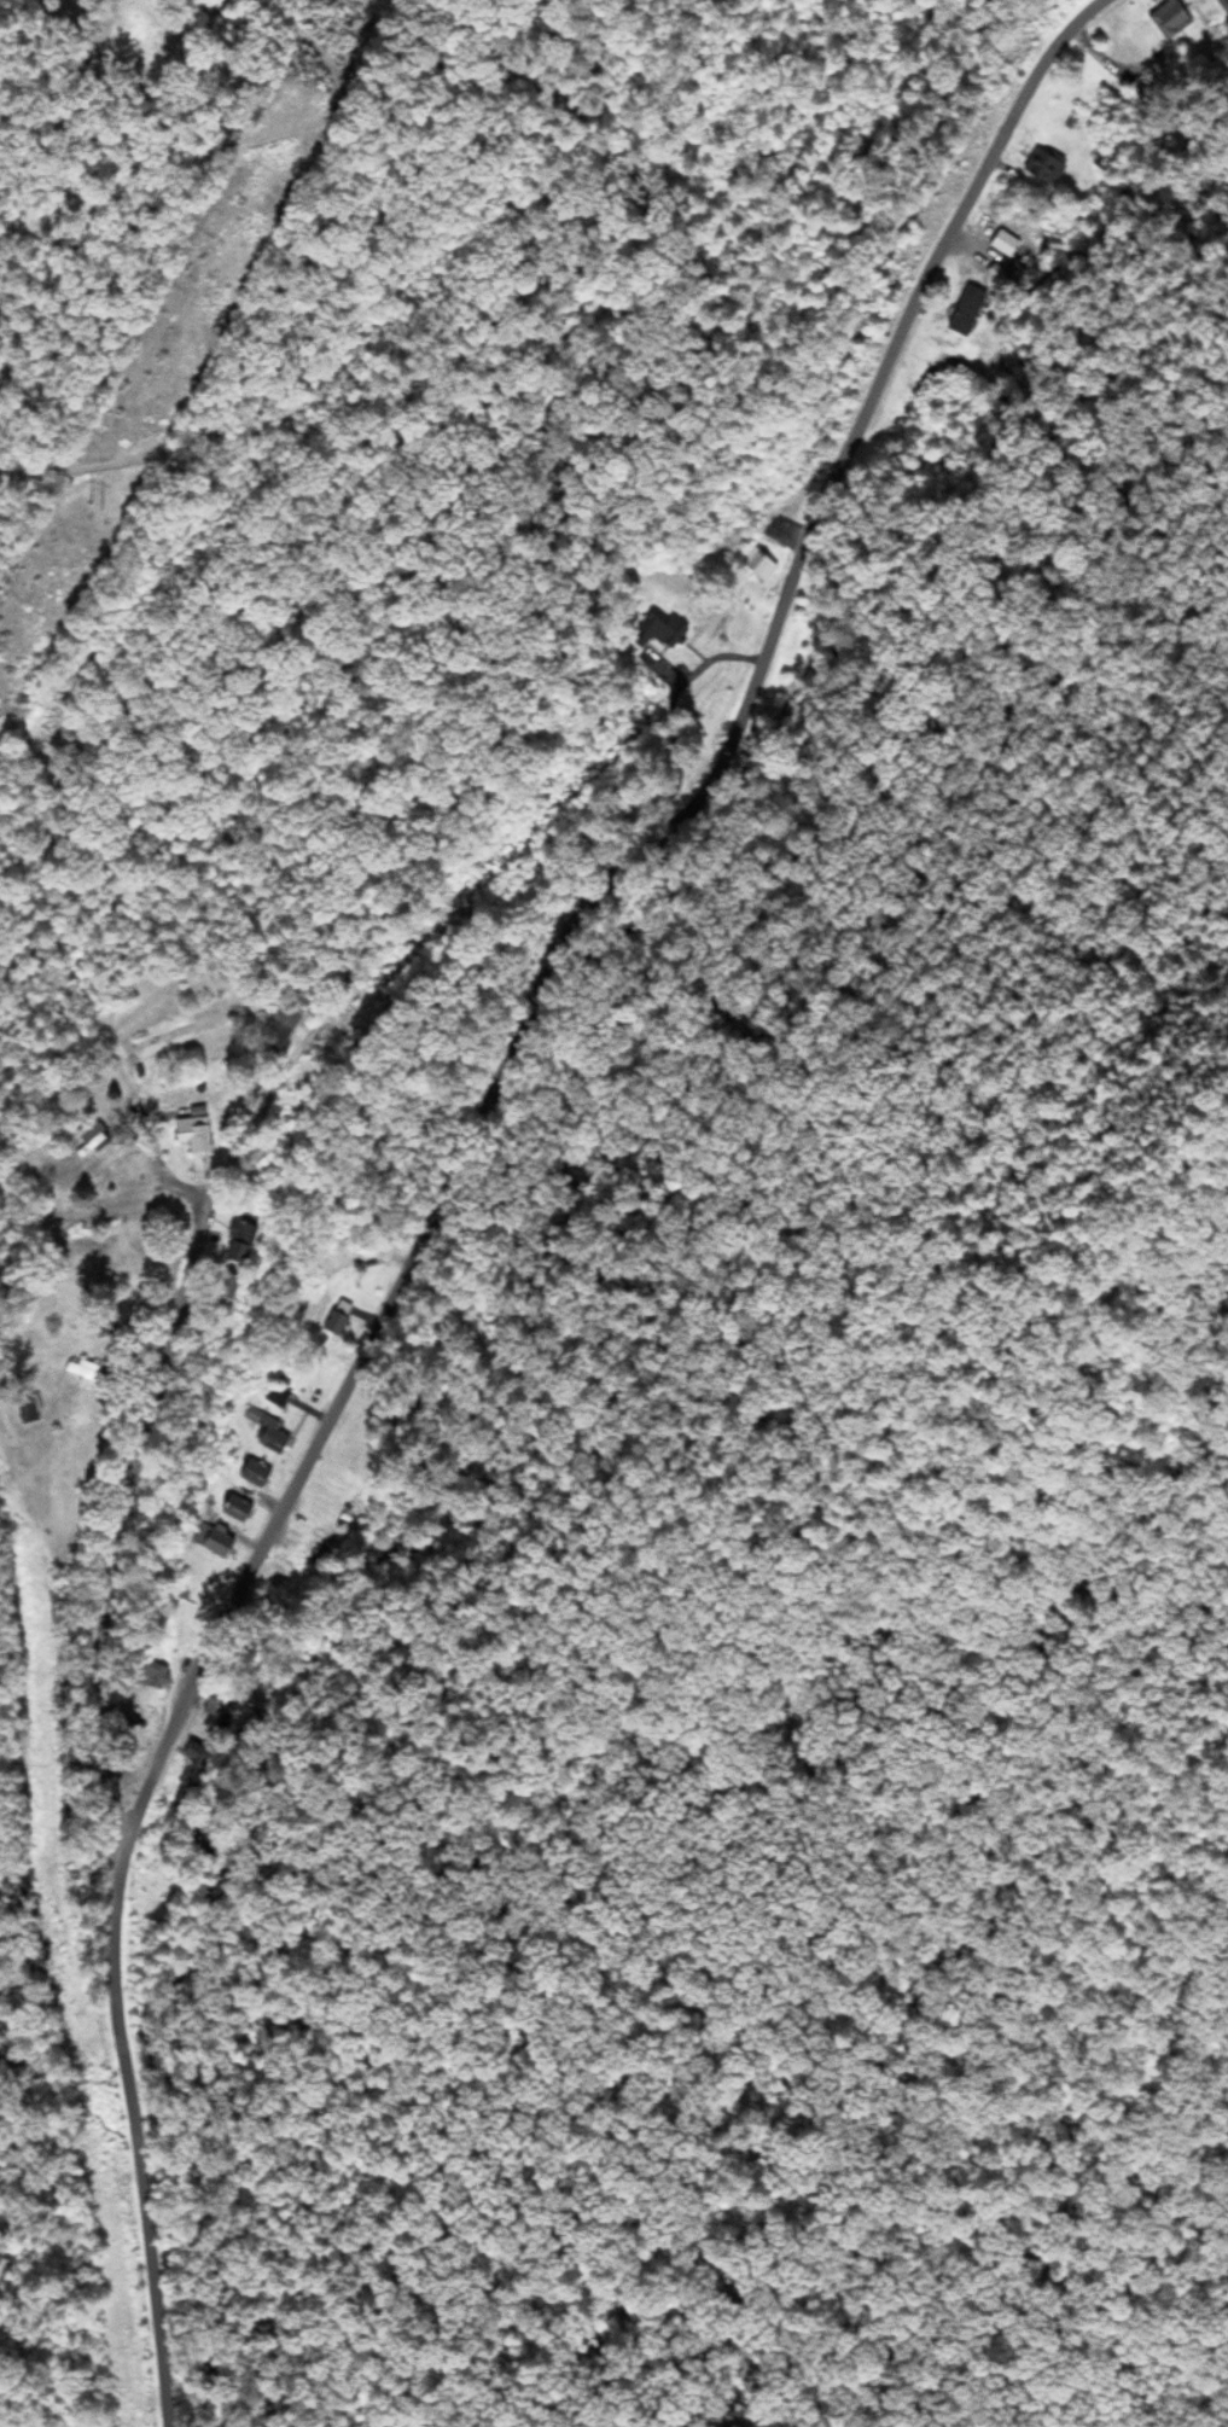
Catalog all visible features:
building: (1224, 7)
building: (1165, 21)
building: (1043, 168)
building: (962, 310)
power tower: (86, 500)
building: (758, 568)
building: (654, 628)
building: (272, 1029)
building: (87, 1137)
building: (187, 1137)
road: (456, 1164)
building: (229, 1242)
building: (216, 1288)
building: (334, 1320)
building: (72, 1370)
building: (273, 1397)
building: (23, 1409)
road: (146, 1412)
building: (267, 1434)
building: (250, 1473)
building: (232, 1509)
building: (213, 1542)
building: (149, 1676)

